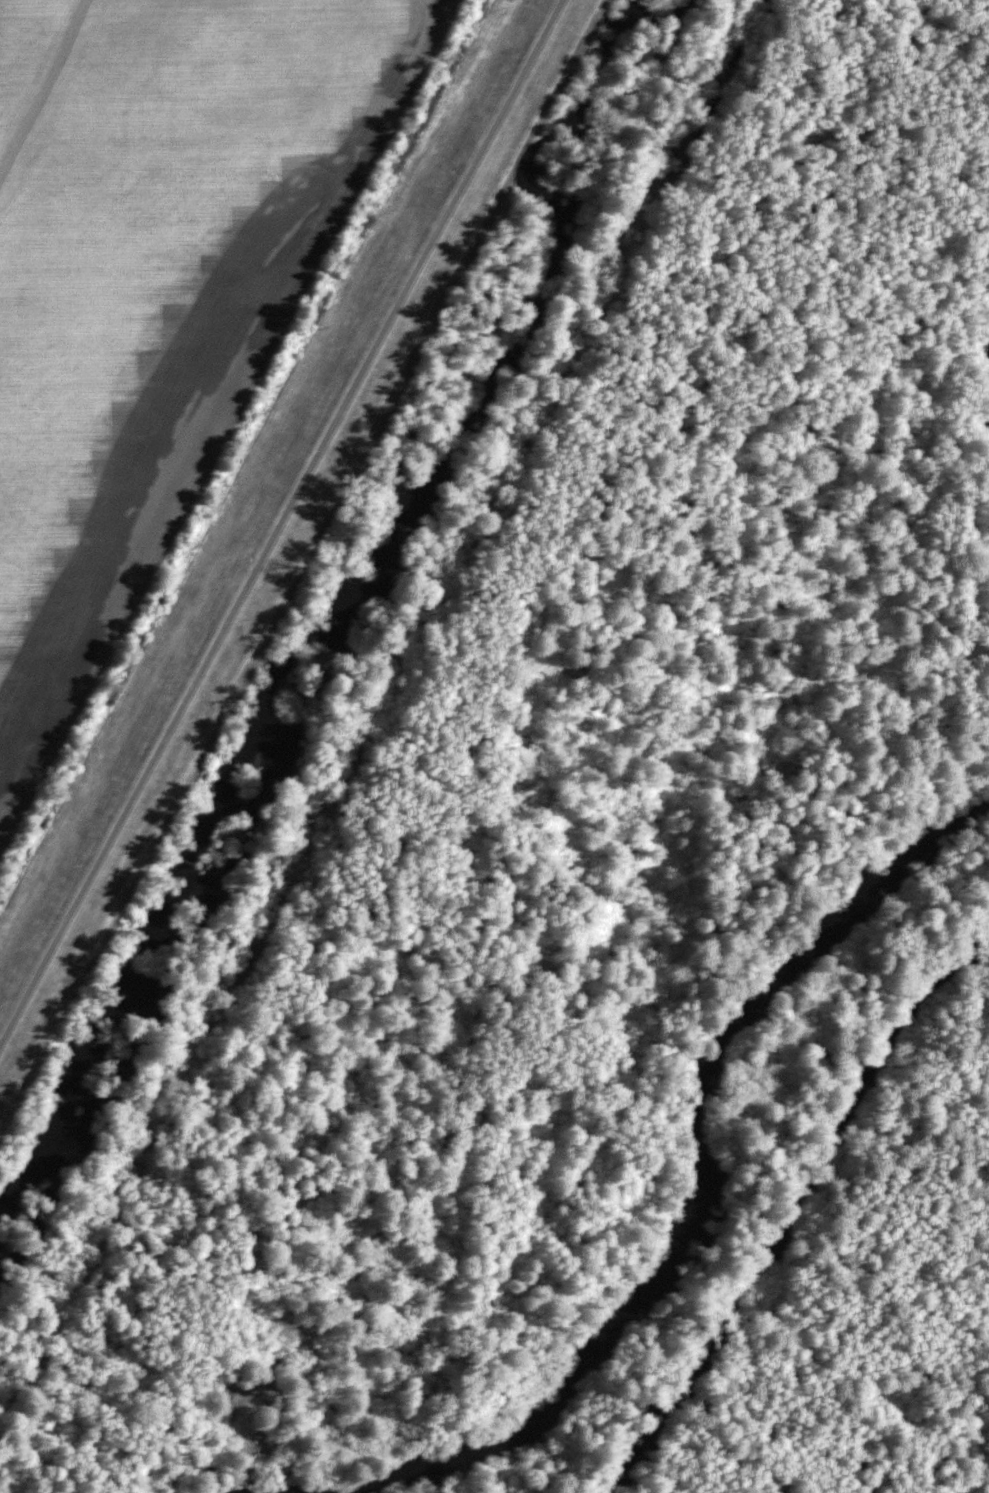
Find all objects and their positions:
river: (988, 413)
road: (281, 523)
river: (691, 1178)
river: (787, 1194)

